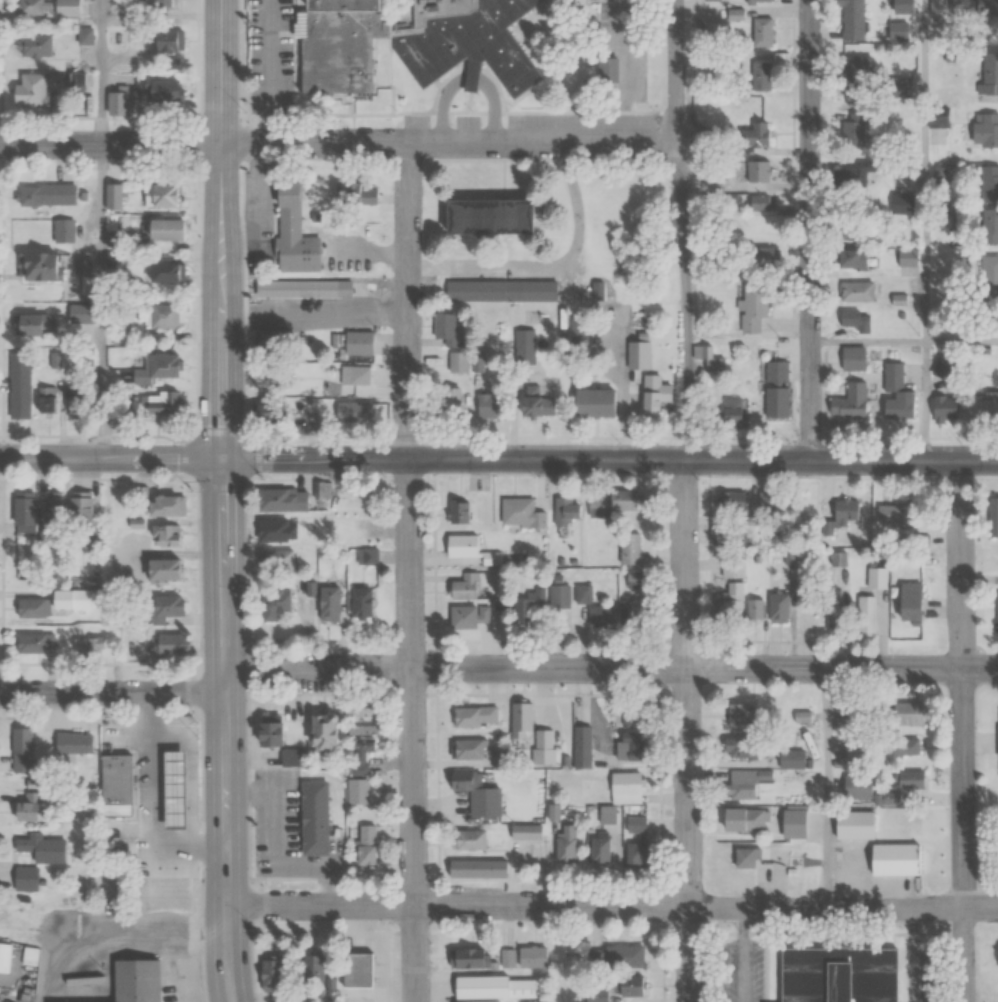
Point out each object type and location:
building: (711, 0)
building: (757, 1)
building: (158, 3)
building: (26, 7)
building: (901, 7)
building: (949, 7)
building: (66, 8)
building: (985, 8)
building: (851, 20)
building: (896, 31)
building: (761, 32)
building: (83, 36)
building: (161, 40)
building: (465, 41)
building: (343, 44)
building: (33, 46)
parking lot: (273, 56)
building: (855, 68)
road: (676, 70)
road: (102, 72)
building: (989, 74)
building: (760, 76)
road: (469, 80)
building: (902, 87)
building: (27, 90)
building: (158, 92)
building: (116, 102)
building: (853, 130)
building: (984, 130)
building: (753, 137)
road: (338, 142)
road: (925, 170)
building: (758, 171)
building: (850, 177)
building: (988, 184)
building: (159, 194)
building: (35, 196)
building: (114, 197)
building: (760, 202)
building: (902, 204)
building: (484, 217)
building: (988, 225)
road: (811, 229)
building: (849, 229)
building: (165, 230)
building: (62, 231)
building: (292, 233)
building: (758, 256)
building: (907, 257)
building: (850, 259)
building: (83, 266)
building: (36, 268)
building: (166, 273)
building: (988, 280)
building: (304, 288)
building: (501, 290)
building: (856, 292)
road: (687, 299)
building: (899, 300)
road: (102, 302)
building: (753, 307)
building: (163, 316)
building: (854, 320)
building: (24, 325)
building: (446, 330)
road: (868, 339)
road: (961, 340)
building: (359, 343)
building: (637, 352)
building: (524, 356)
building: (852, 358)
building: (706, 359)
building: (457, 363)
building: (157, 368)
building: (943, 368)
building: (776, 371)
building: (355, 375)
building: (267, 381)
building: (896, 392)
building: (446, 400)
road: (925, 400)
building: (776, 402)
building: (849, 402)
building: (592, 403)
building: (40, 405)
building: (147, 405)
building: (488, 405)
building: (649, 405)
building: (535, 406)
building: (988, 407)
building: (944, 408)
building: (731, 409)
building: (356, 412)
road: (111, 459)
road: (610, 459)
traffic signals: (223, 460)
building: (279, 499)
building: (732, 500)
road: (223, 501)
building: (610, 502)
building: (164, 505)
building: (79, 507)
building: (21, 508)
building: (50, 509)
building: (458, 509)
building: (564, 509)
building: (519, 512)
building: (896, 514)
building: (992, 516)
building: (275, 530)
building: (724, 534)
building: (164, 535)
building: (460, 544)
building: (628, 547)
building: (368, 556)
building: (490, 557)
building: (276, 559)
building: (731, 565)
building: (159, 569)
road: (410, 572)
building: (876, 577)
building: (633, 579)
building: (464, 587)
building: (581, 594)
building: (734, 600)
building: (60, 601)
building: (359, 601)
building: (540, 601)
building: (909, 601)
building: (273, 603)
building: (327, 603)
building: (29, 607)
building: (777, 607)
building: (163, 608)
building: (755, 609)
building: (997, 609)
building: (629, 610)
building: (599, 615)
building: (866, 615)
building: (464, 616)
building: (833, 617)
building: (36, 644)
building: (165, 644)
road: (612, 667)
road: (113, 693)
building: (908, 712)
building: (360, 713)
building: (737, 715)
building: (475, 716)
building: (803, 716)
building: (521, 718)
road: (688, 731)
road: (964, 731)
building: (323, 733)
building: (630, 734)
building: (20, 740)
building: (72, 744)
building: (361, 745)
building: (583, 746)
building: (740, 747)
building: (471, 748)
building: (859, 748)
building: (902, 748)
building: (292, 756)
building: (502, 758)
building: (792, 759)
building: (18, 762)
building: (911, 778)
building: (112, 779)
building: (743, 789)
building: (175, 790)
gas station: (175, 790)
building: (864, 790)
building: (358, 791)
building: (622, 794)
building: (484, 797)
building: (27, 807)
building: (313, 816)
building: (743, 819)
building: (796, 822)
building: (527, 832)
building: (469, 839)
building: (638, 842)
building: (566, 843)
building: (366, 846)
building: (41, 848)
building: (601, 848)
building: (748, 858)
building: (894, 860)
building: (796, 862)
building: (478, 868)
building: (24, 879)
road: (612, 907)
building: (525, 956)
building: (625, 956)
building: (473, 957)
building: (18, 958)
building: (313, 968)
building: (356, 968)
building: (269, 974)
building: (836, 974)
building: (128, 982)
building: (629, 985)
building: (488, 988)
building: (597, 995)

